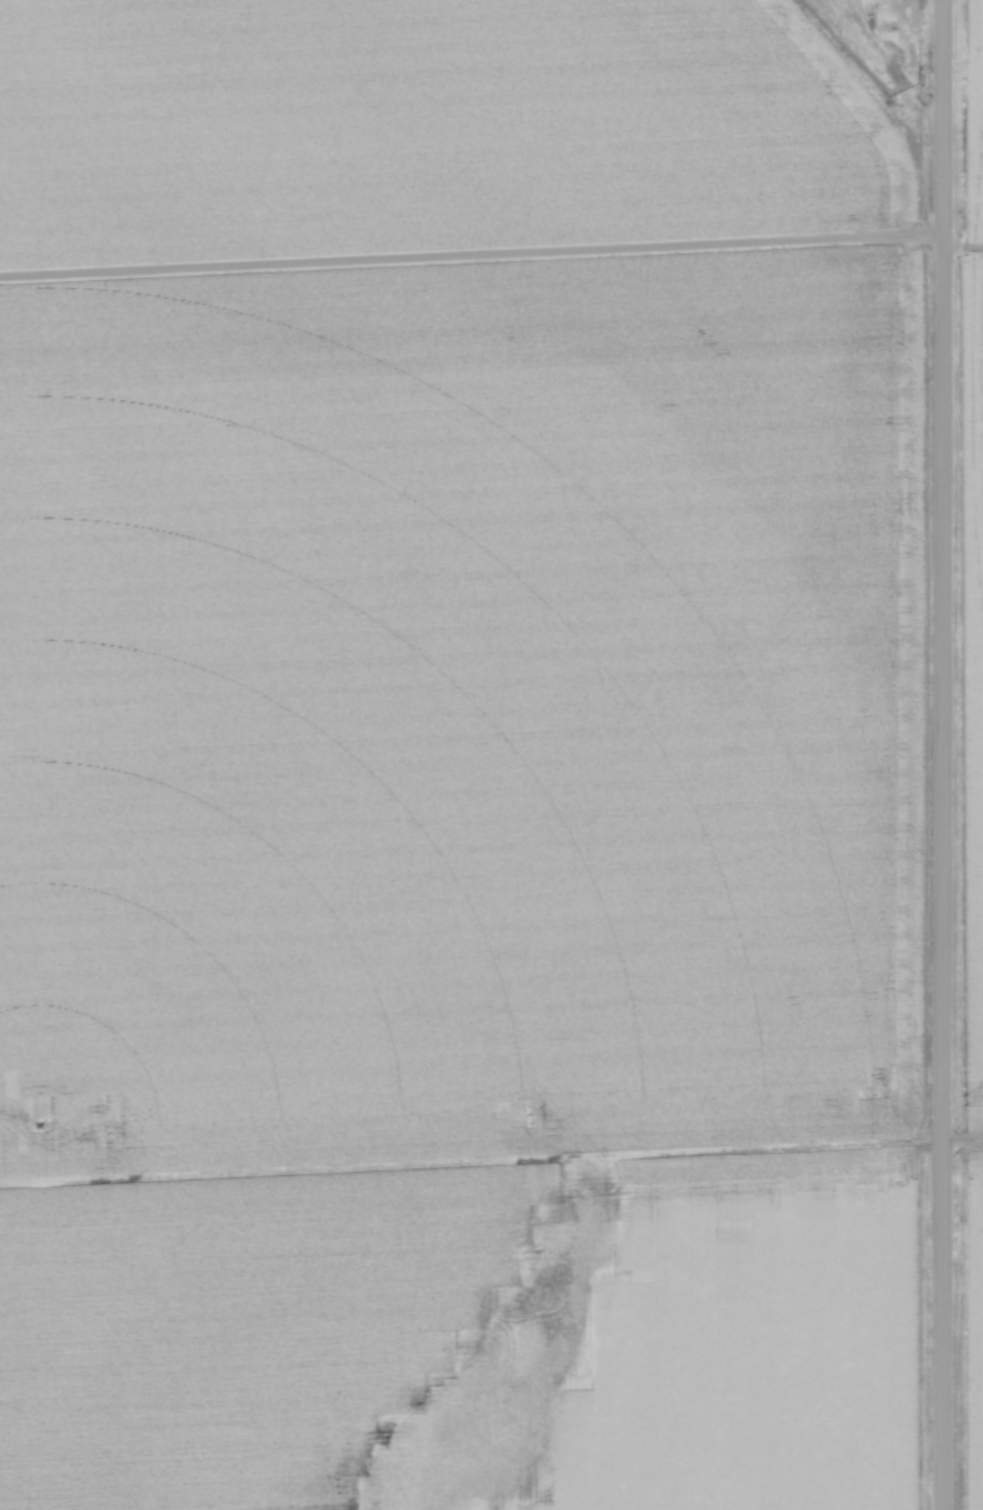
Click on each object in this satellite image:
road: (471, 255)
road: (943, 754)
power tower: (963, 1102)
power tower: (530, 1121)
power tower: (110, 1140)

